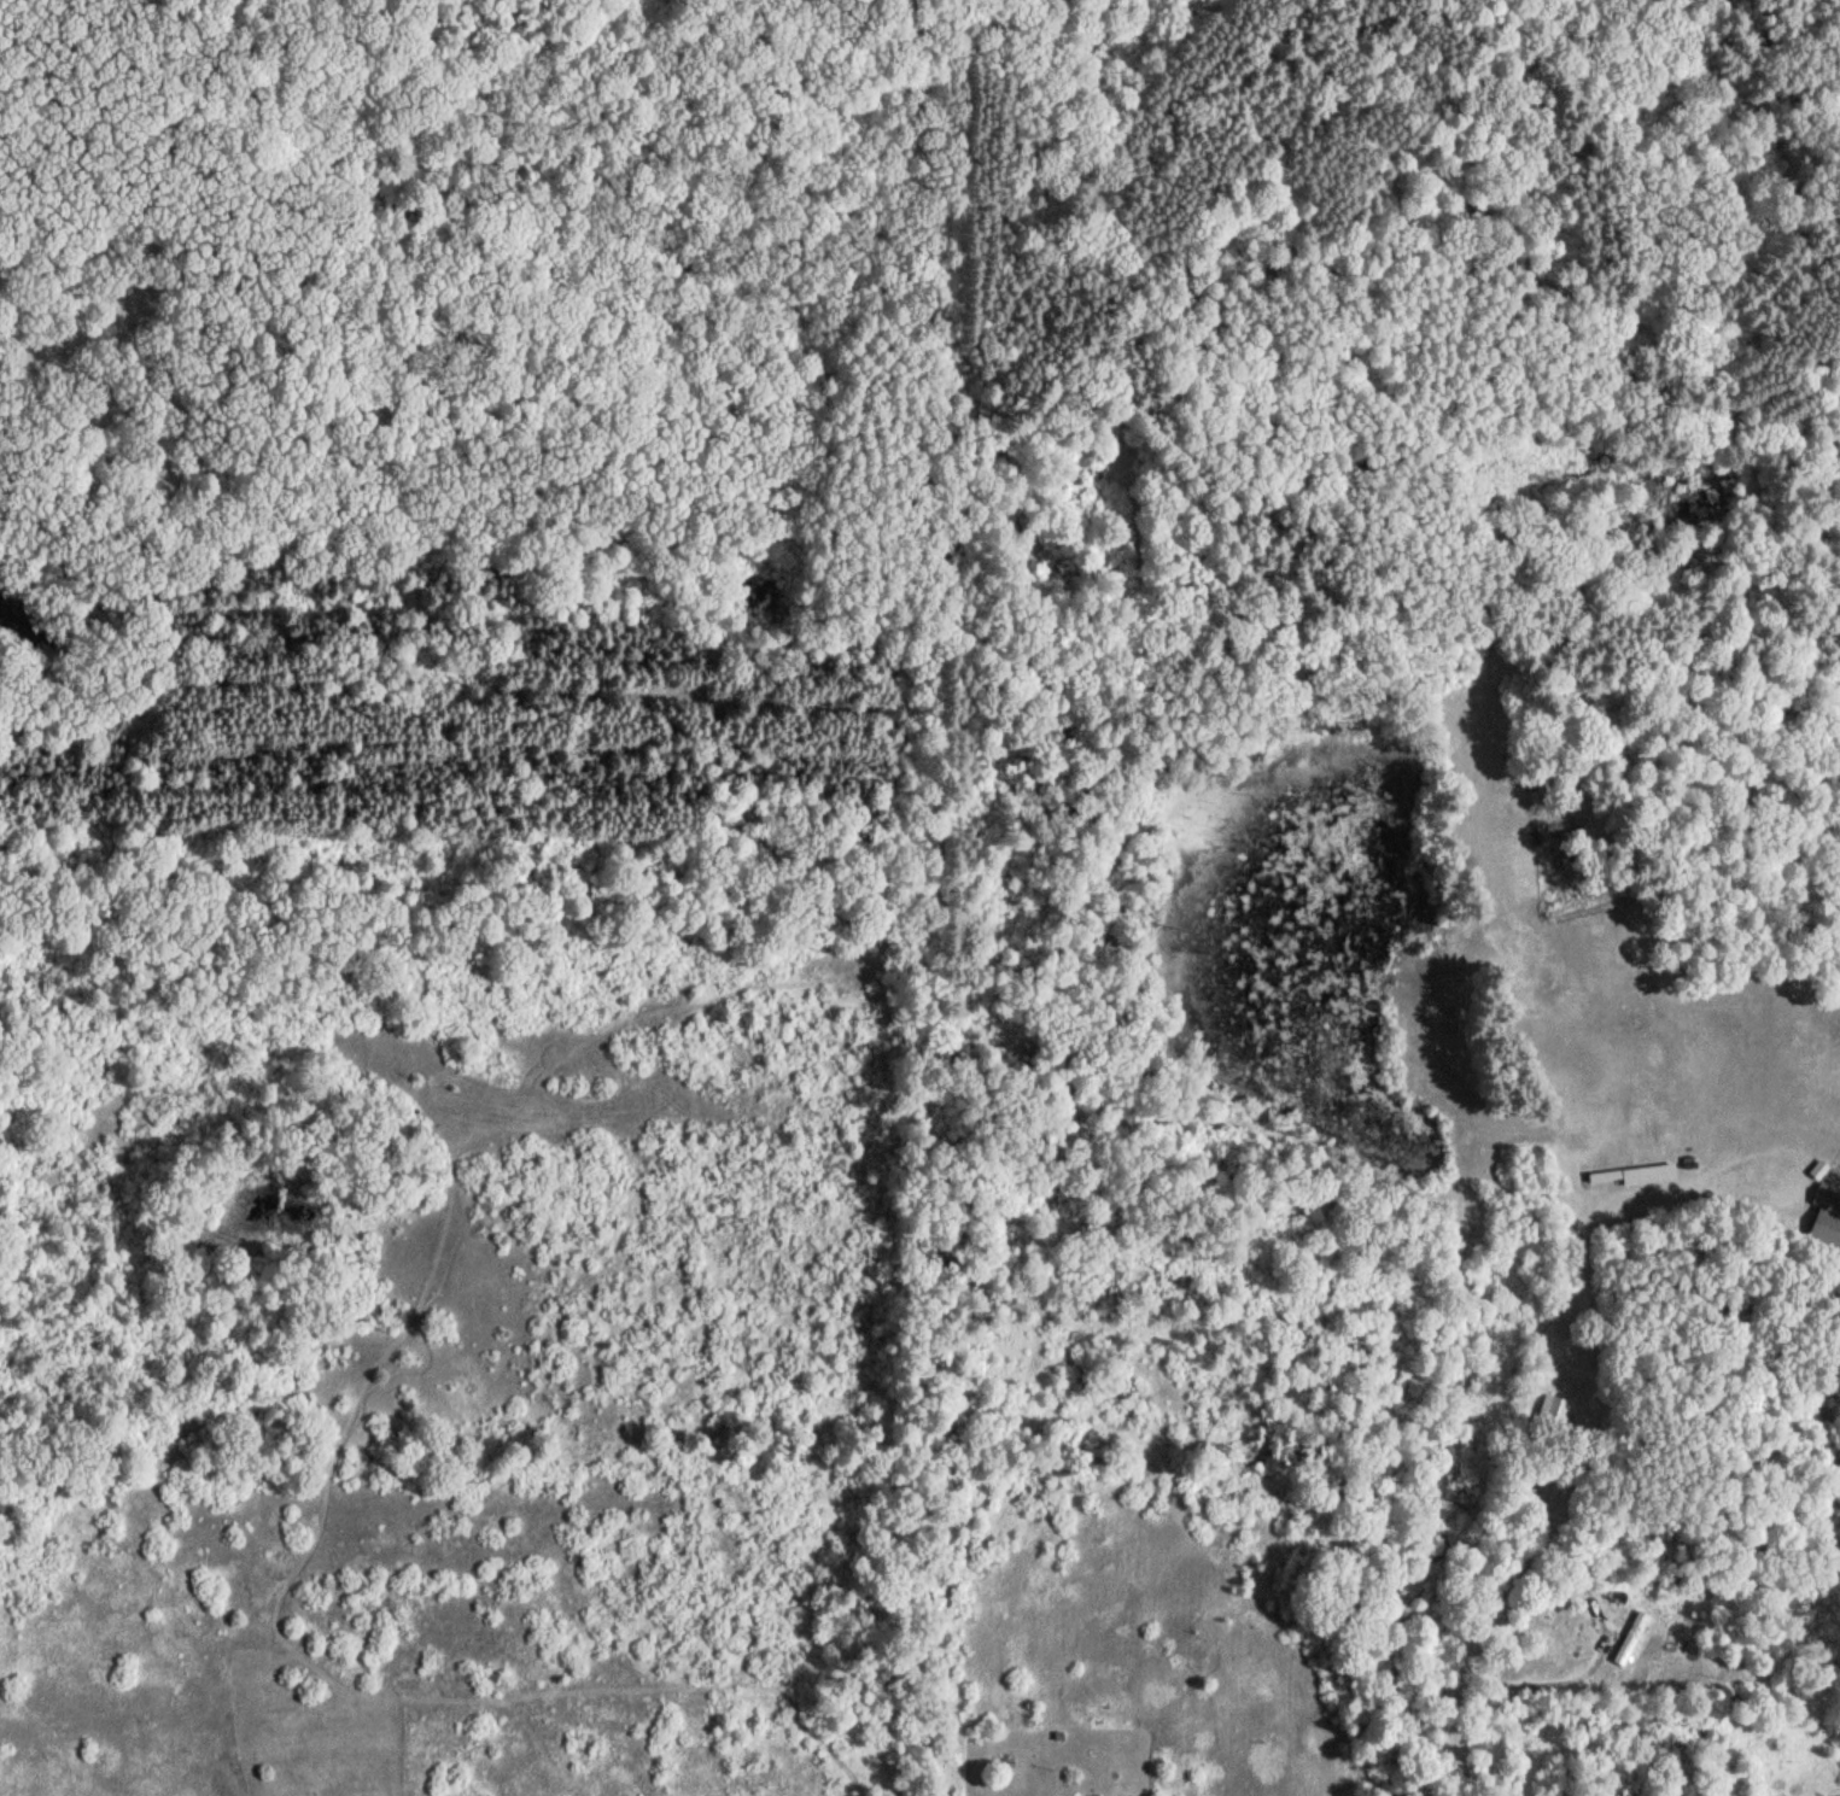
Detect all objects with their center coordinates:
building: (1824, 1233)
road: (1597, 1400)
building: (1629, 1639)

